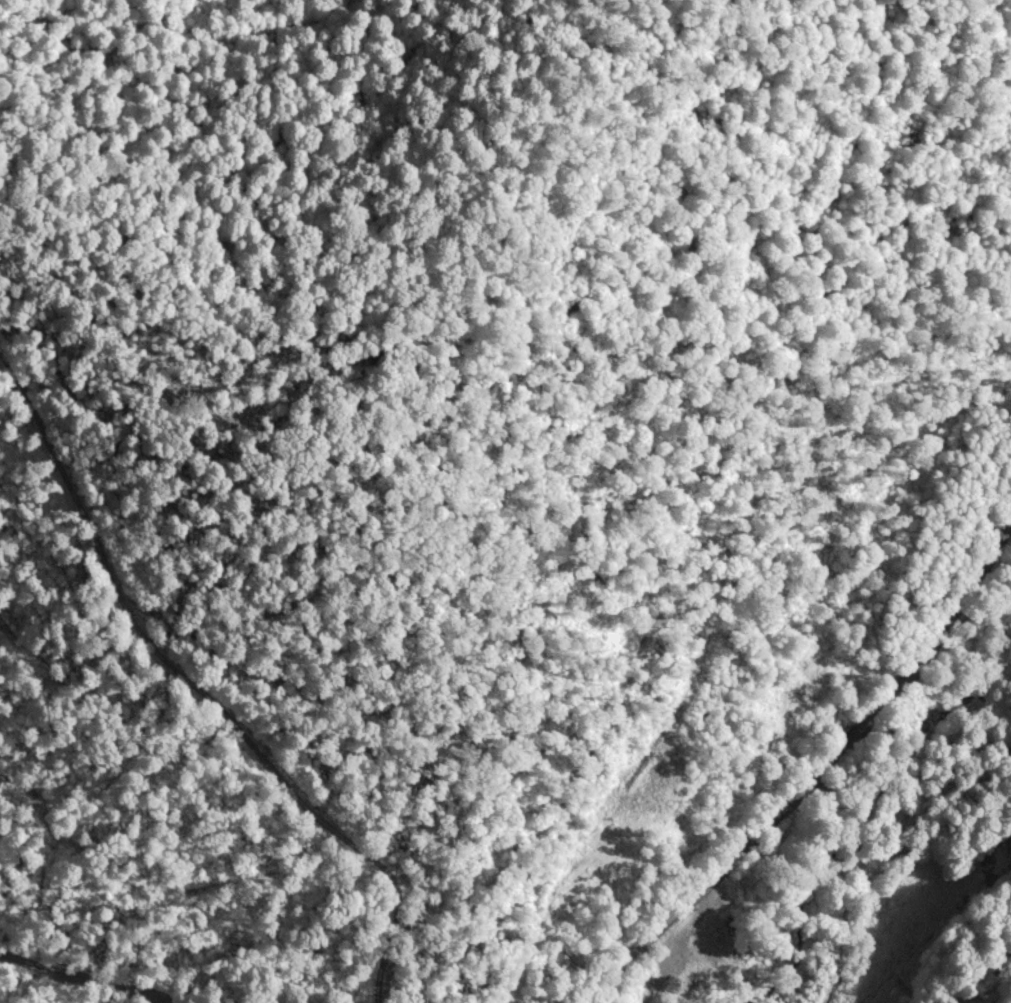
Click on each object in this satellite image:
road: (825, 783)

